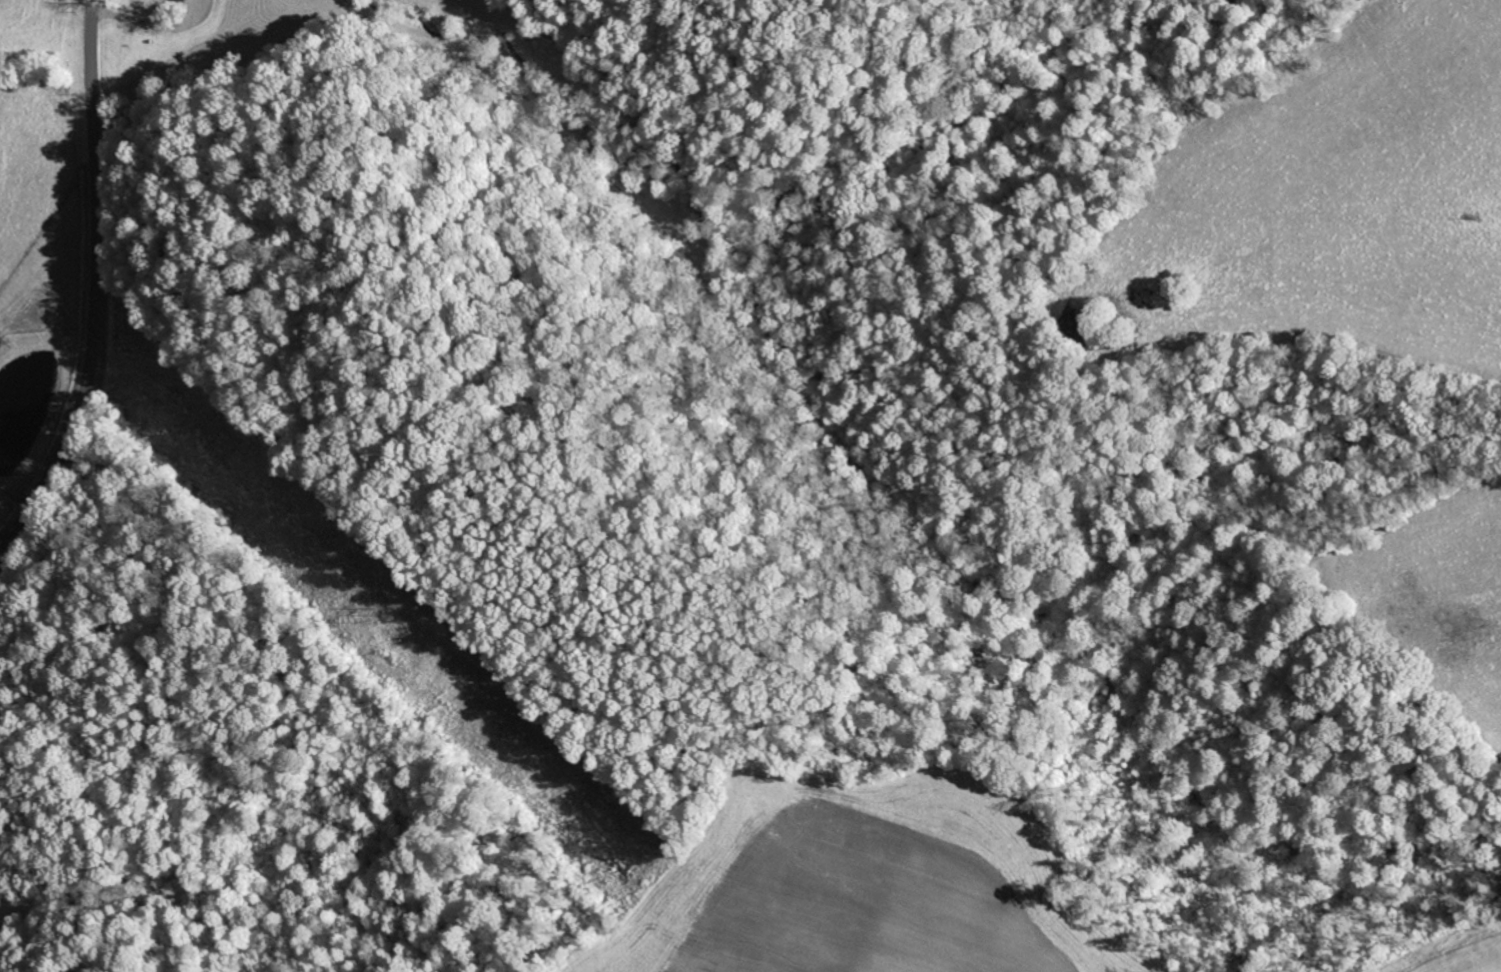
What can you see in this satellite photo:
building: (182, 0)
road: (95, 284)
power tower: (375, 614)

